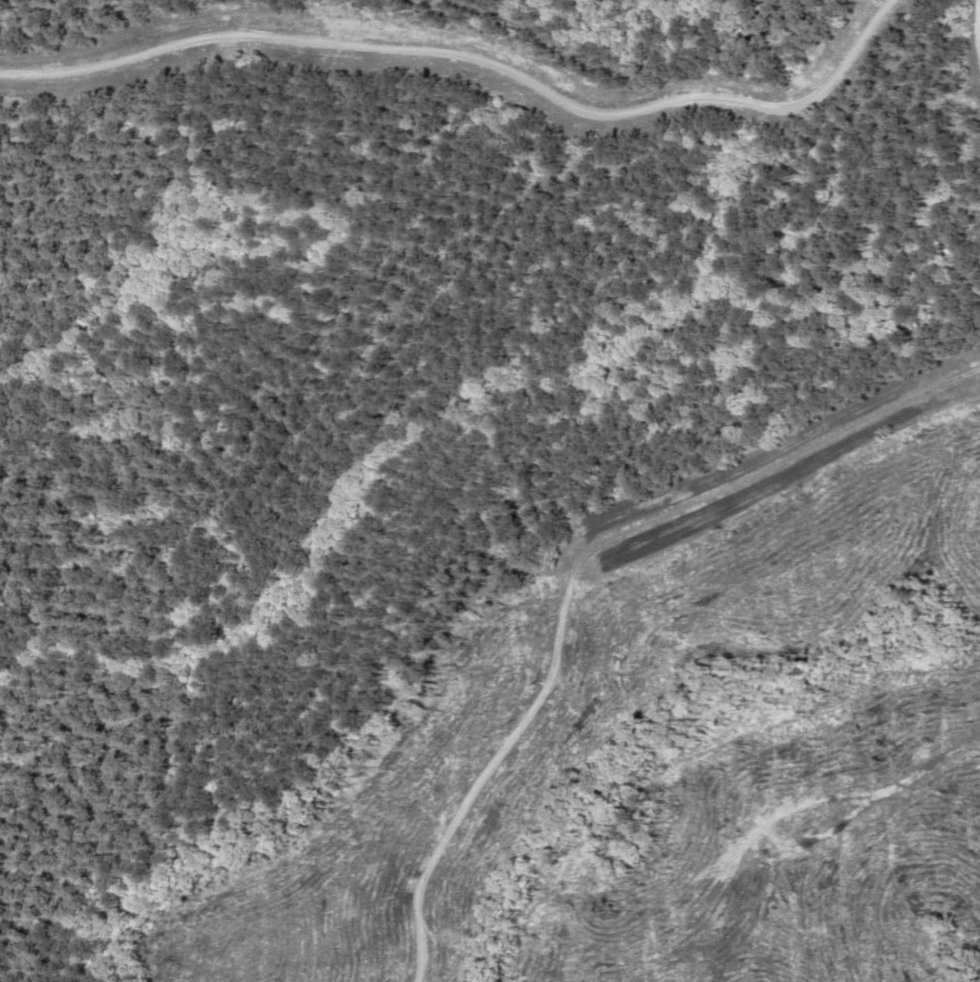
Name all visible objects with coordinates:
road: (978, 20)
road: (462, 56)

